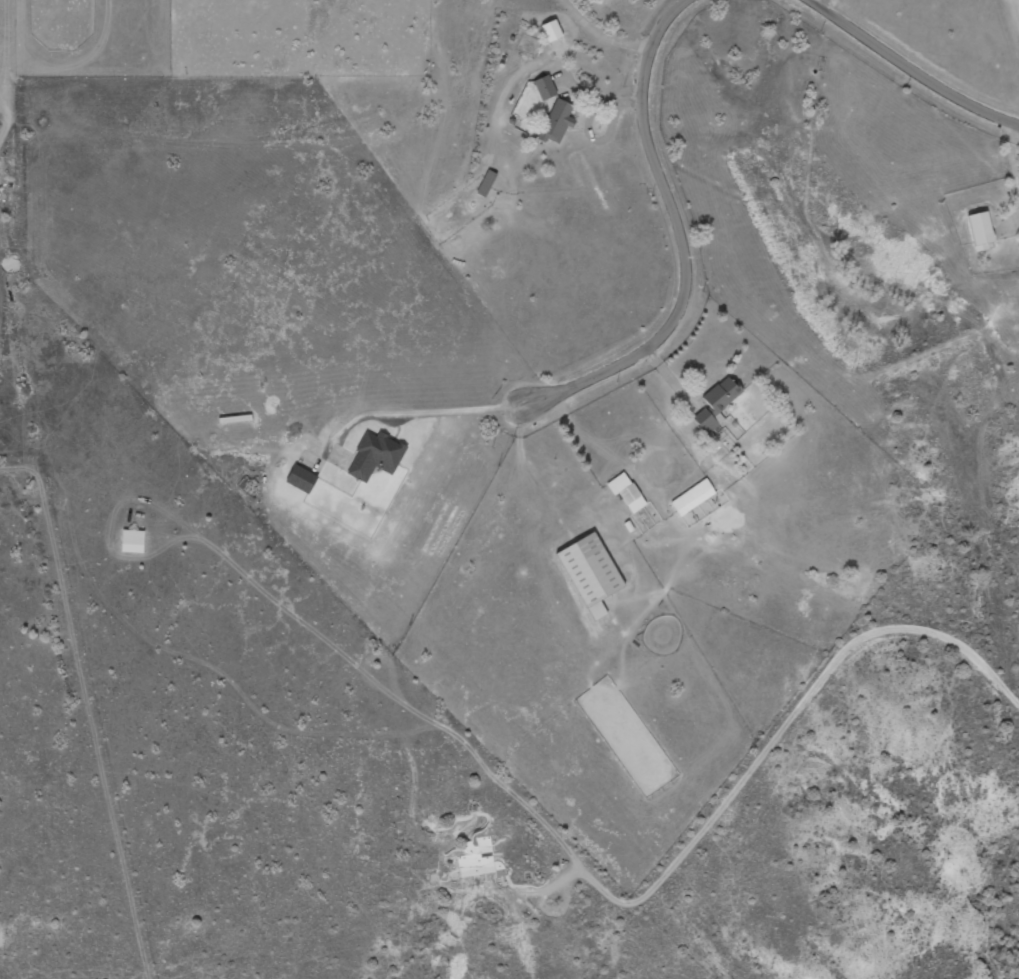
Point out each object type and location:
road: (912, 65)
building: (546, 87)
building: (558, 121)
building: (487, 183)
building: (982, 230)
road: (681, 244)
building: (718, 403)
building: (376, 455)
building: (302, 478)
building: (627, 492)
building: (693, 497)
building: (134, 540)
building: (592, 573)
road: (860, 655)
building: (477, 858)

